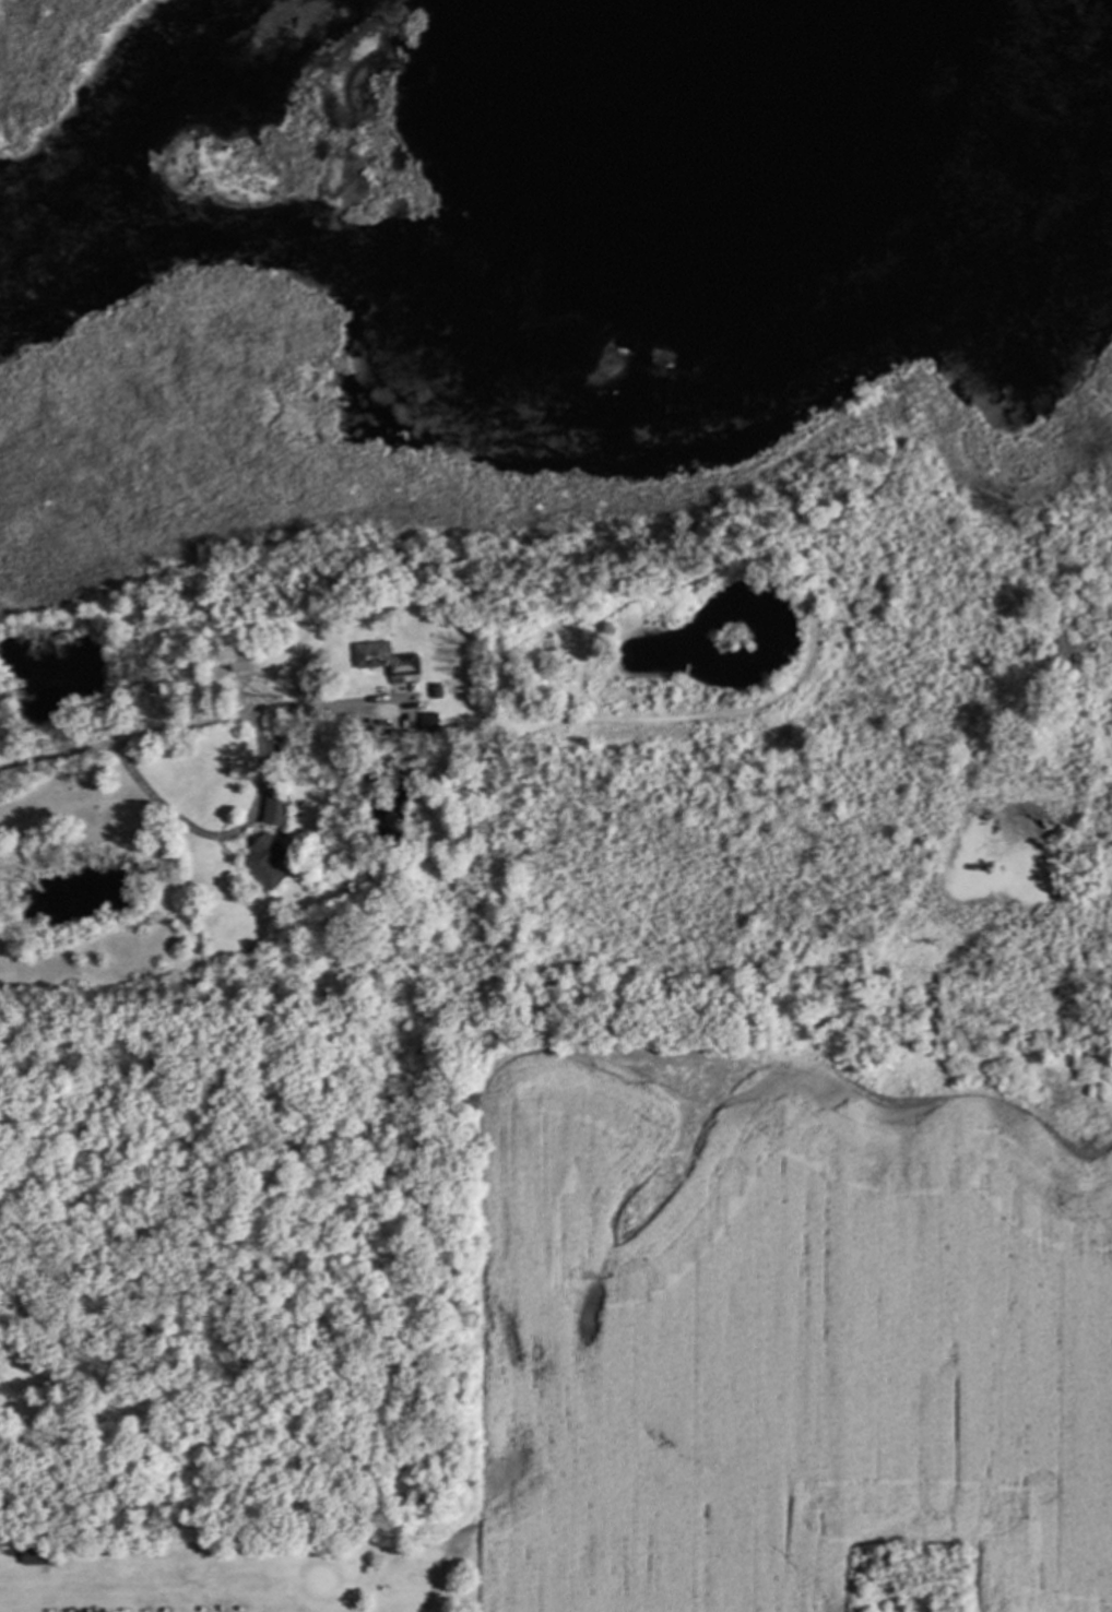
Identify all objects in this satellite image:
building: (389, 657)
building: (242, 666)
pier: (686, 673)
building: (436, 692)
building: (431, 721)
road: (196, 726)
building: (274, 810)
building: (434, 820)
road: (220, 837)
building: (264, 862)
crop: (786, 1339)
building: (38, 1558)
park: (226, 1579)

